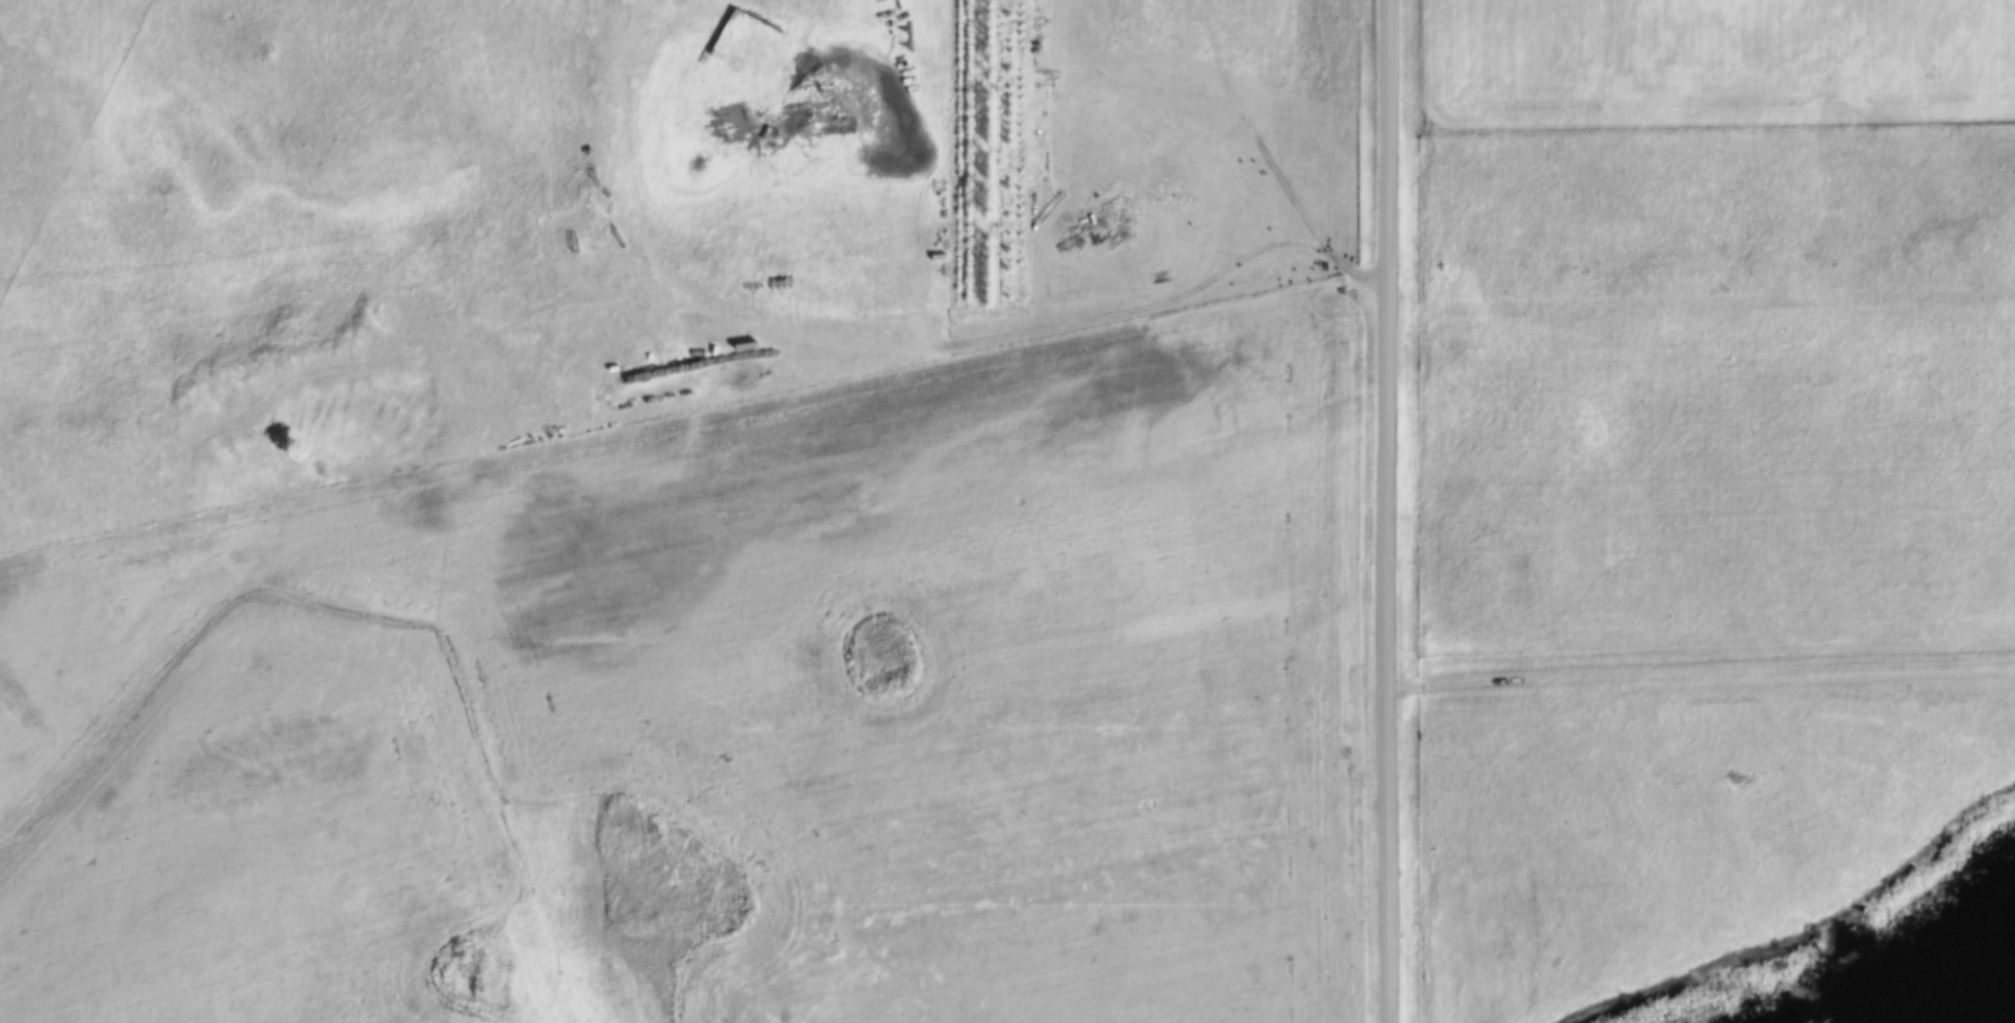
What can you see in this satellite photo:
road: (1390, 511)

